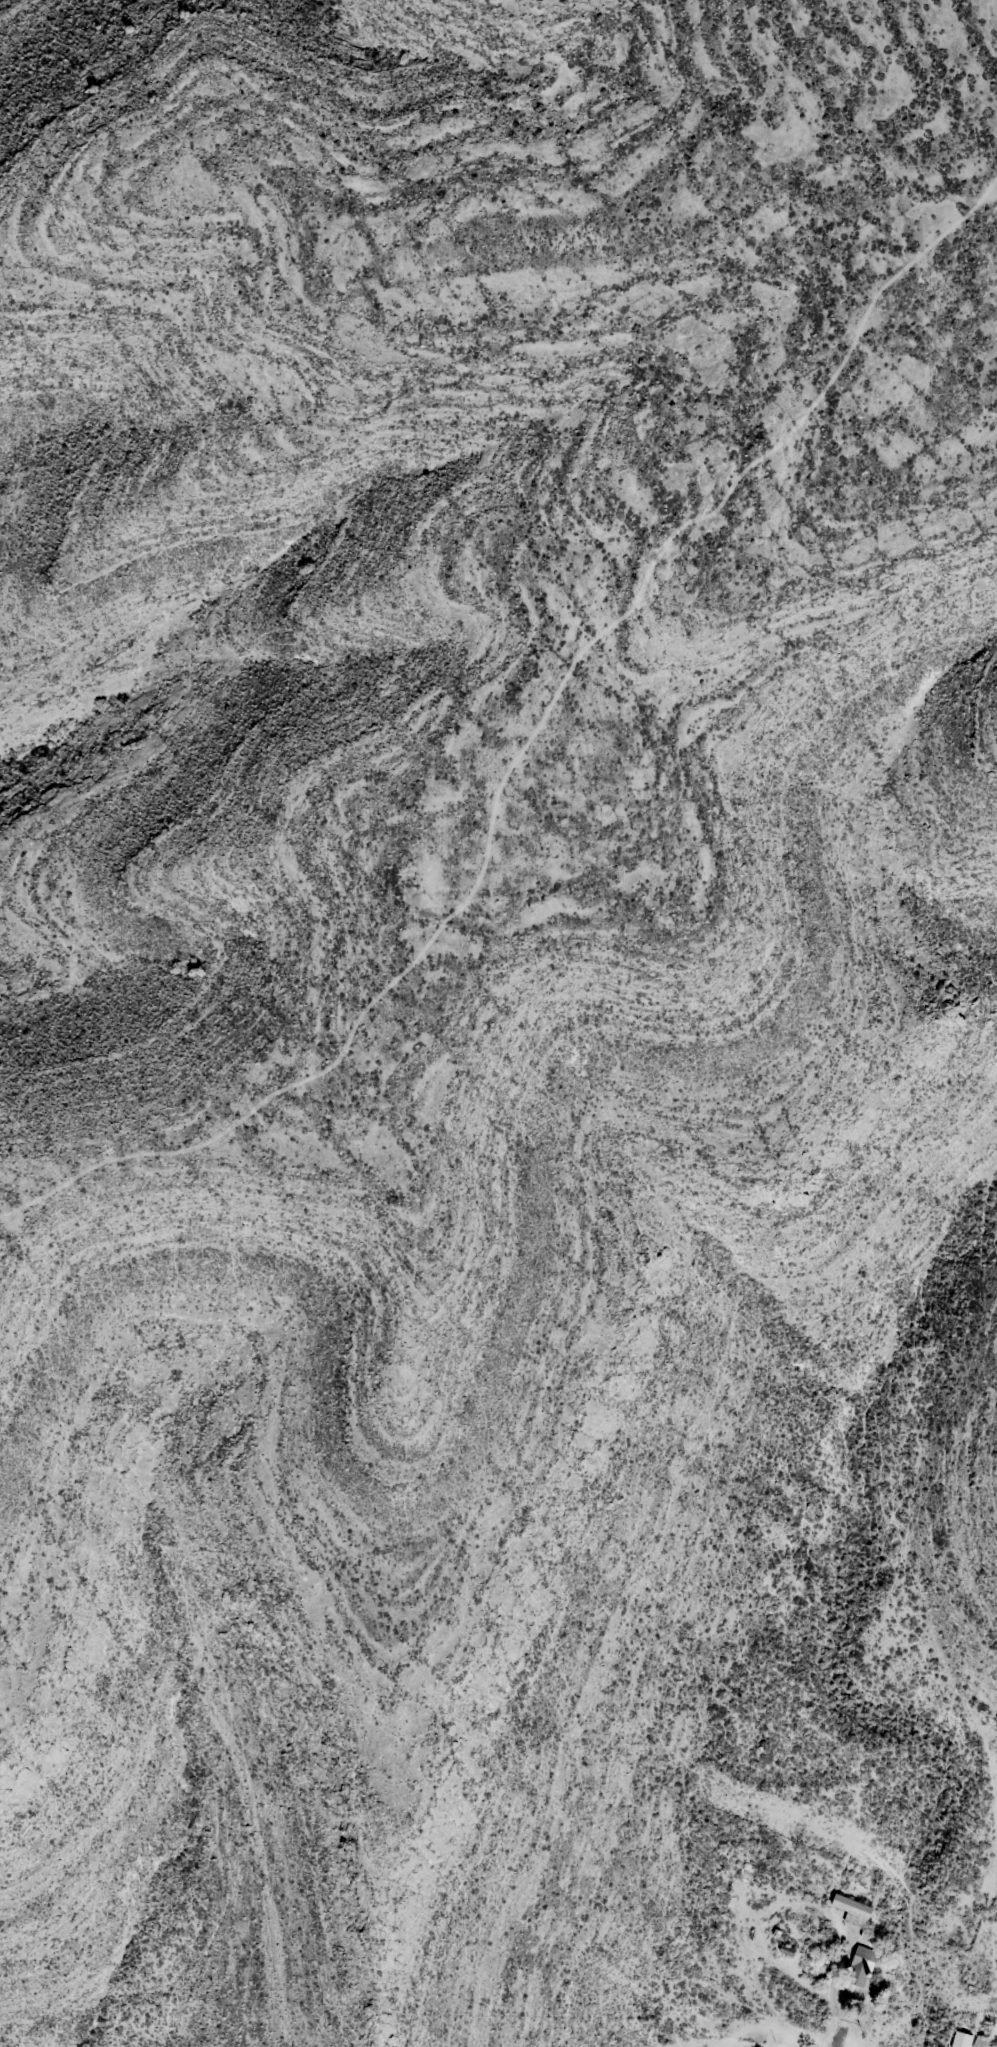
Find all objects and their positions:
building: (854, 1912)
building: (861, 1965)
road: (850, 1998)
building: (962, 2039)

